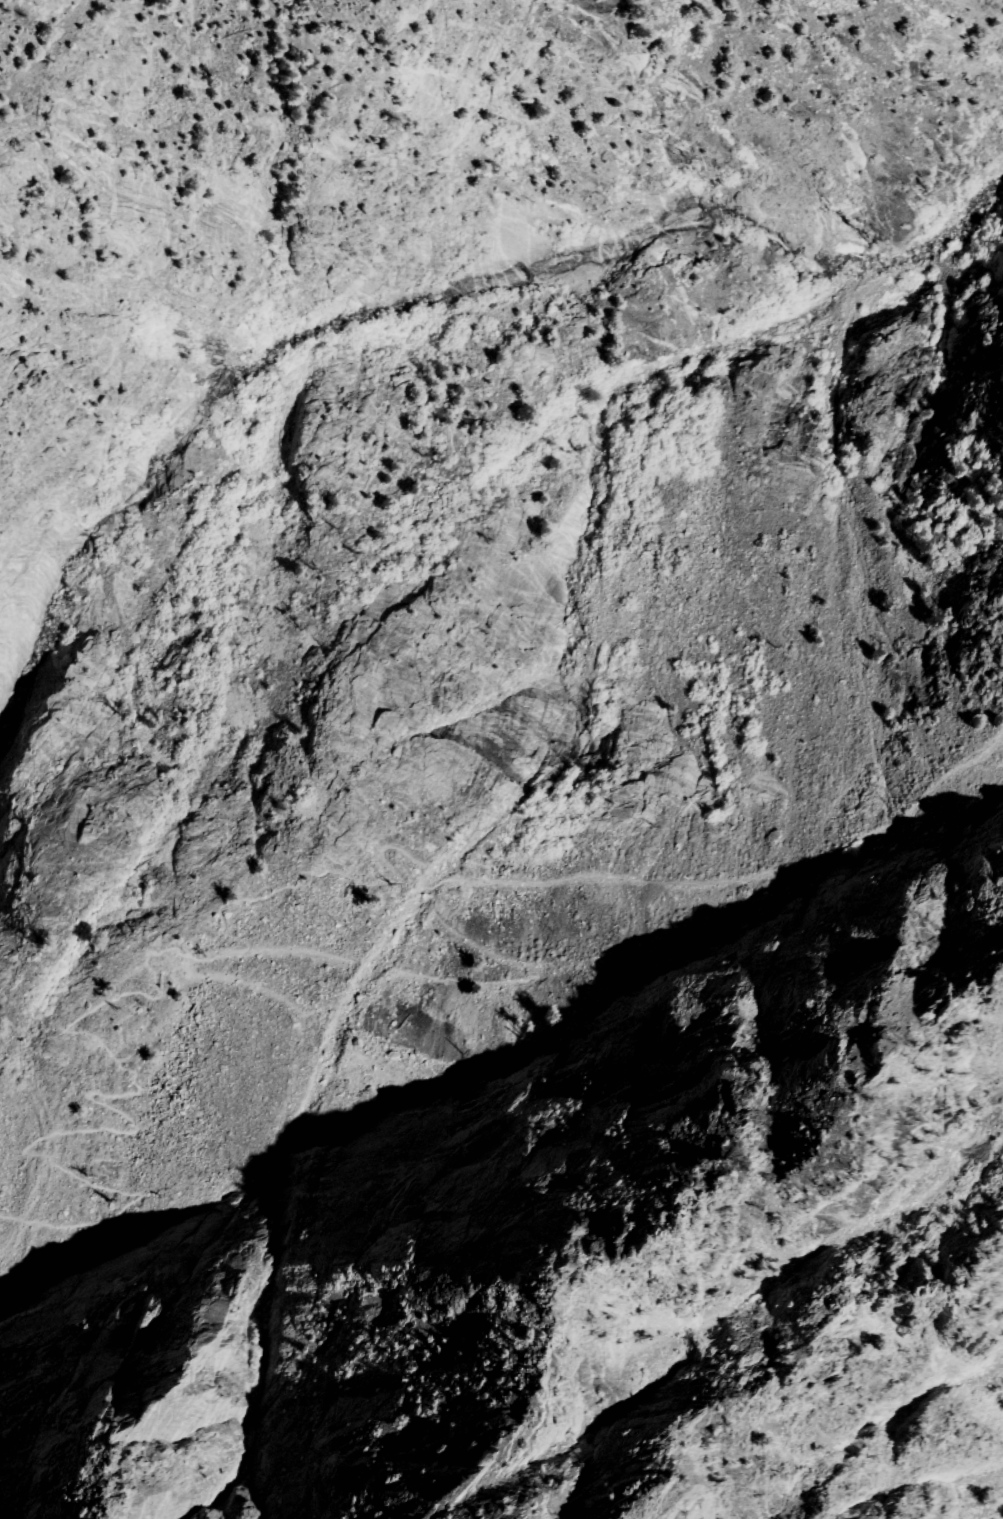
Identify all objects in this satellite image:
road: (220, 920)

